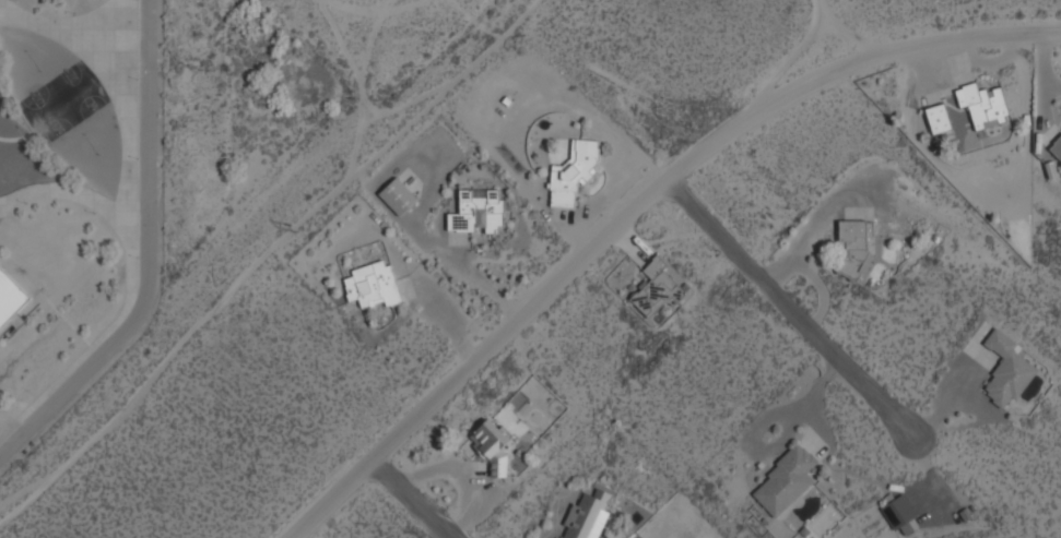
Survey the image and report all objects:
road: (50, 27)
park: (32, 62)
park: (80, 91)
road: (123, 105)
building: (982, 106)
park: (46, 113)
building: (936, 119)
building: (1056, 145)
building: (573, 174)
building: (397, 196)
street lamp: (26, 204)
road: (633, 208)
building: (476, 213)
power tower: (295, 229)
building: (852, 249)
road: (149, 260)
road: (129, 277)
building: (372, 285)
building: (656, 290)
building: (10, 300)
road: (45, 301)
road: (793, 307)
road: (25, 332)
building: (1005, 372)
building: (490, 446)
building: (783, 481)
road: (411, 497)
building: (586, 516)
building: (899, 516)

